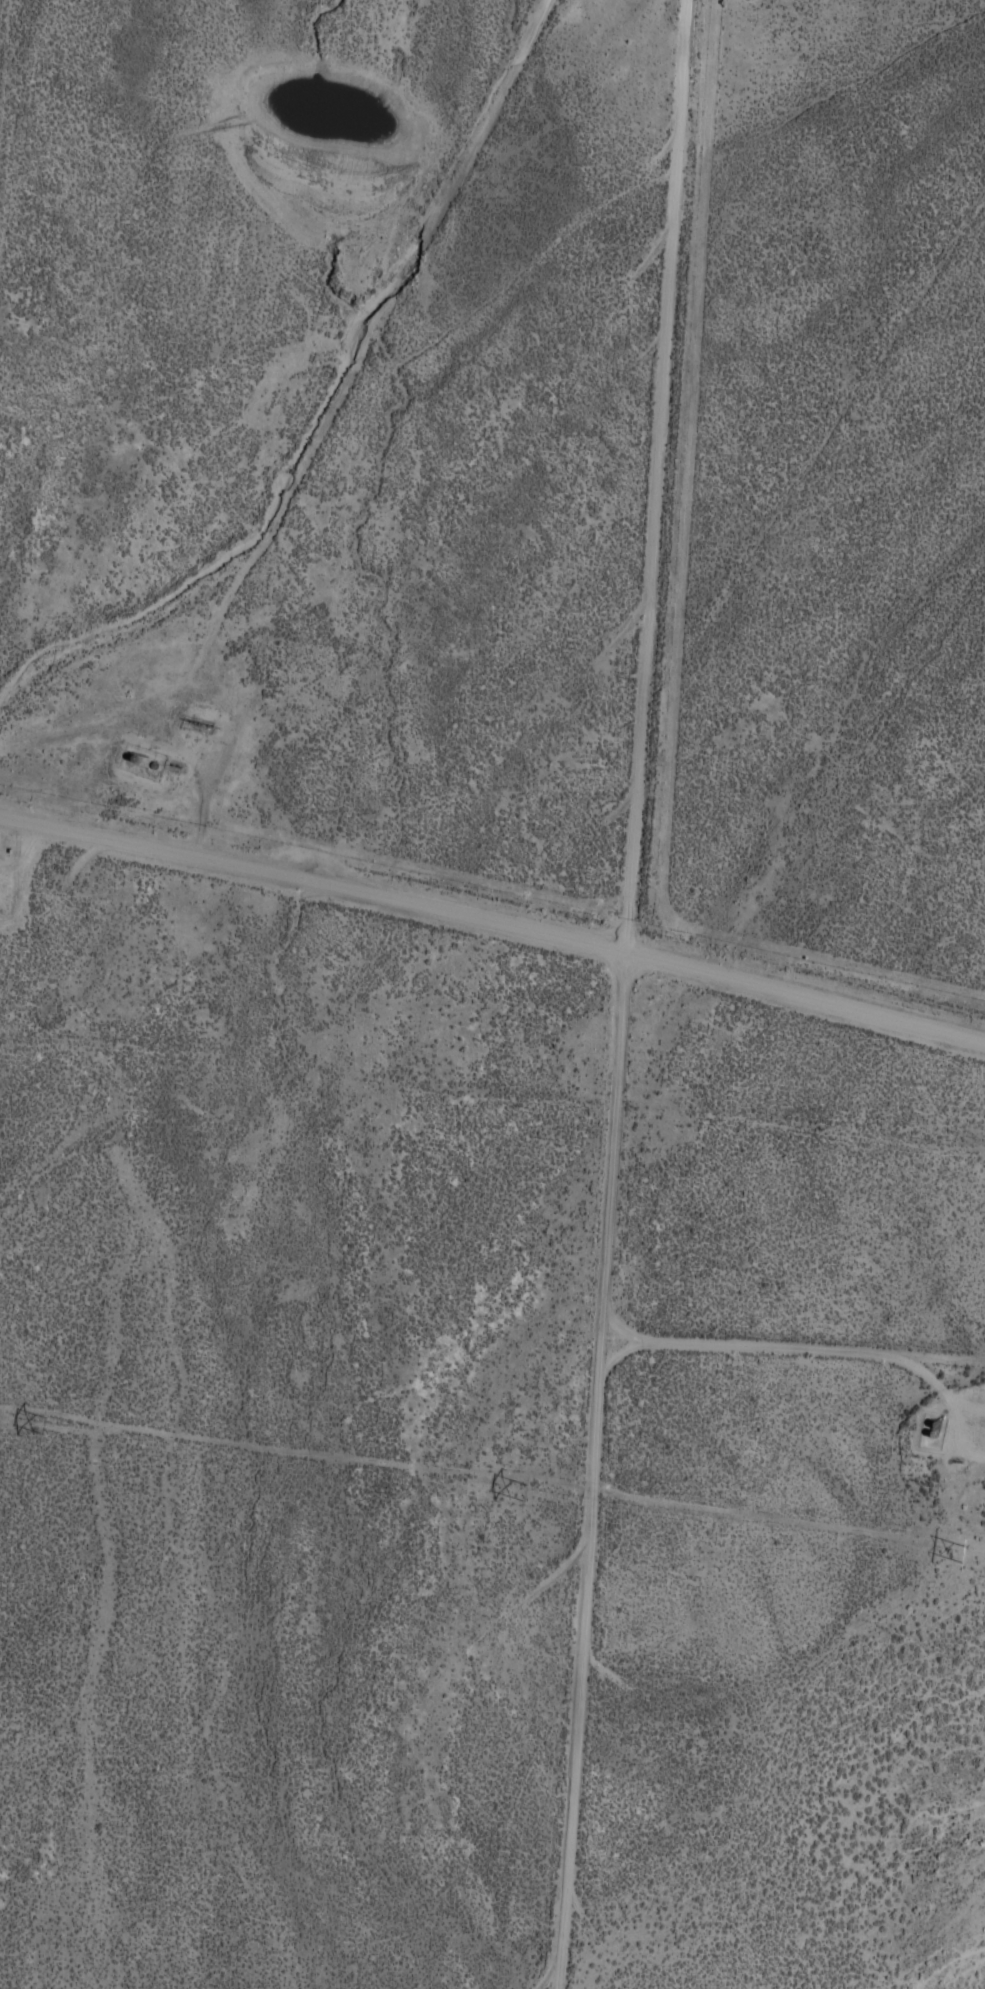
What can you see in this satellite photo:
road: (3, 54)
road: (335, 406)
road: (494, 922)
road: (603, 989)
road: (792, 1347)
power tower: (42, 1426)
power tower: (533, 1493)
power tower: (966, 1551)

